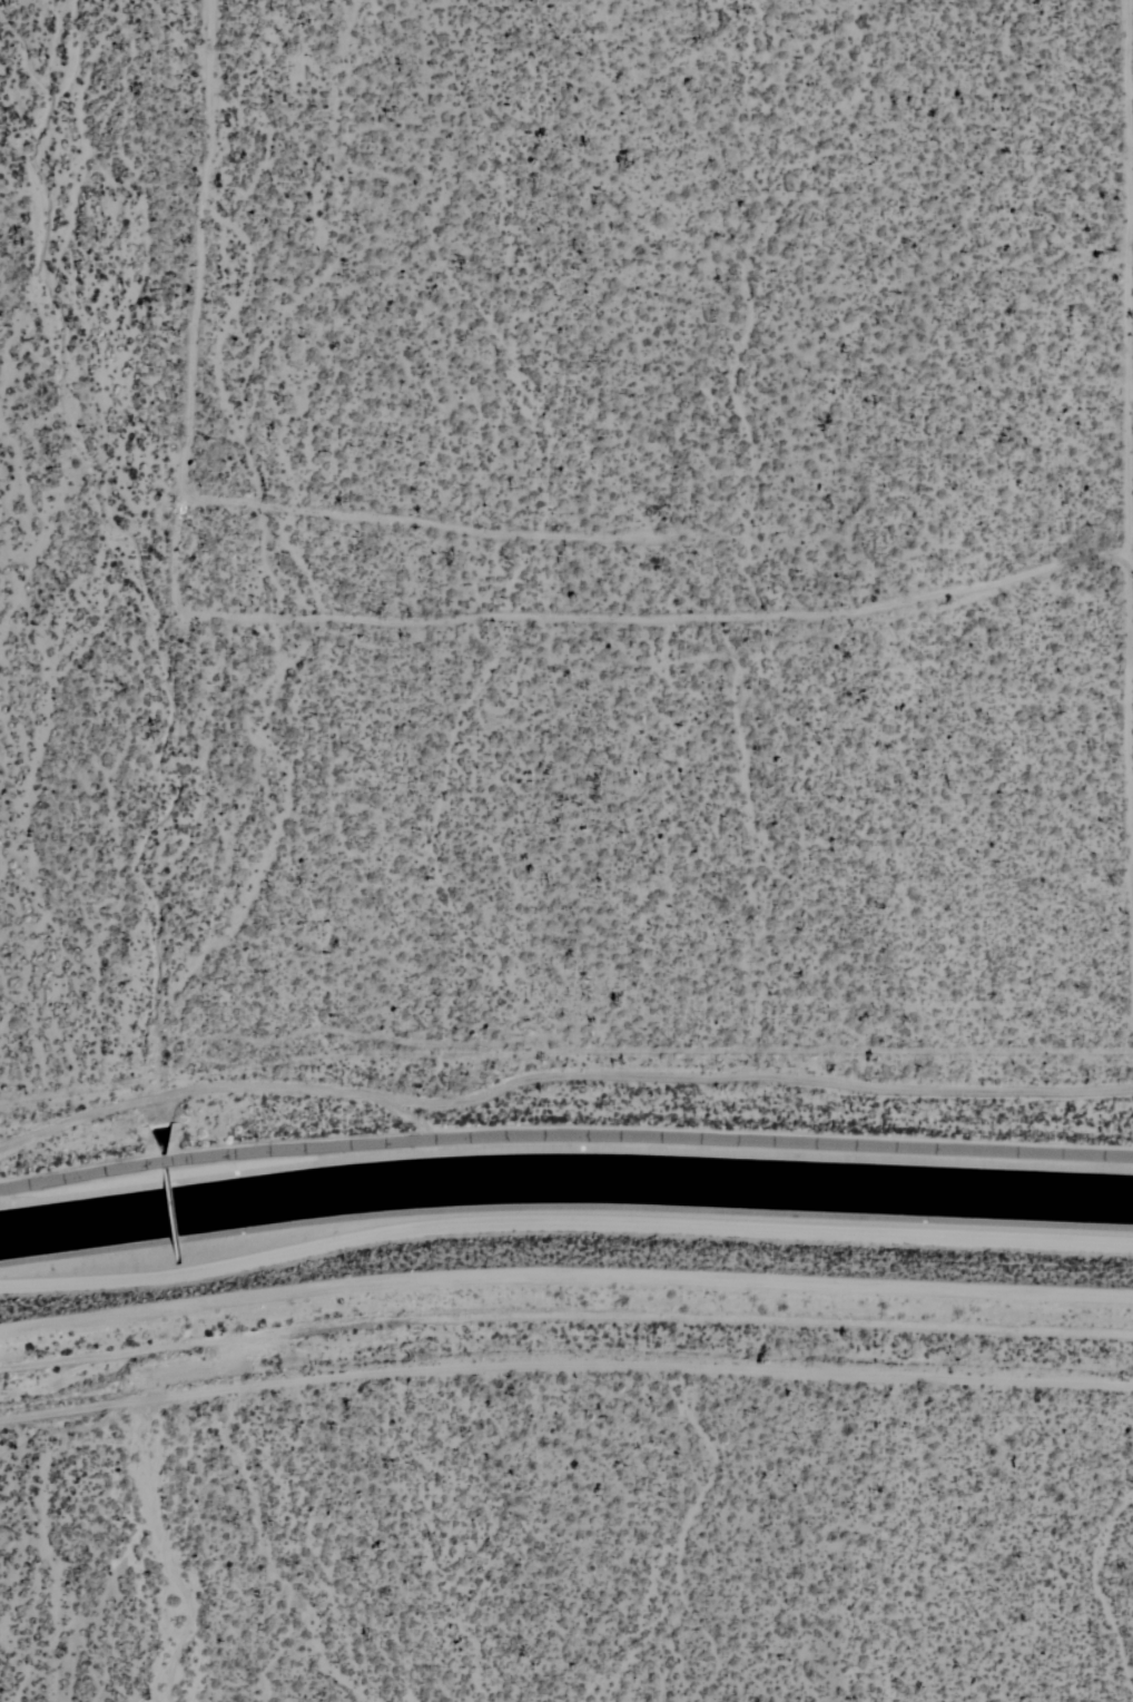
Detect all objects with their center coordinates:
road: (561, 1078)
road: (564, 1359)

